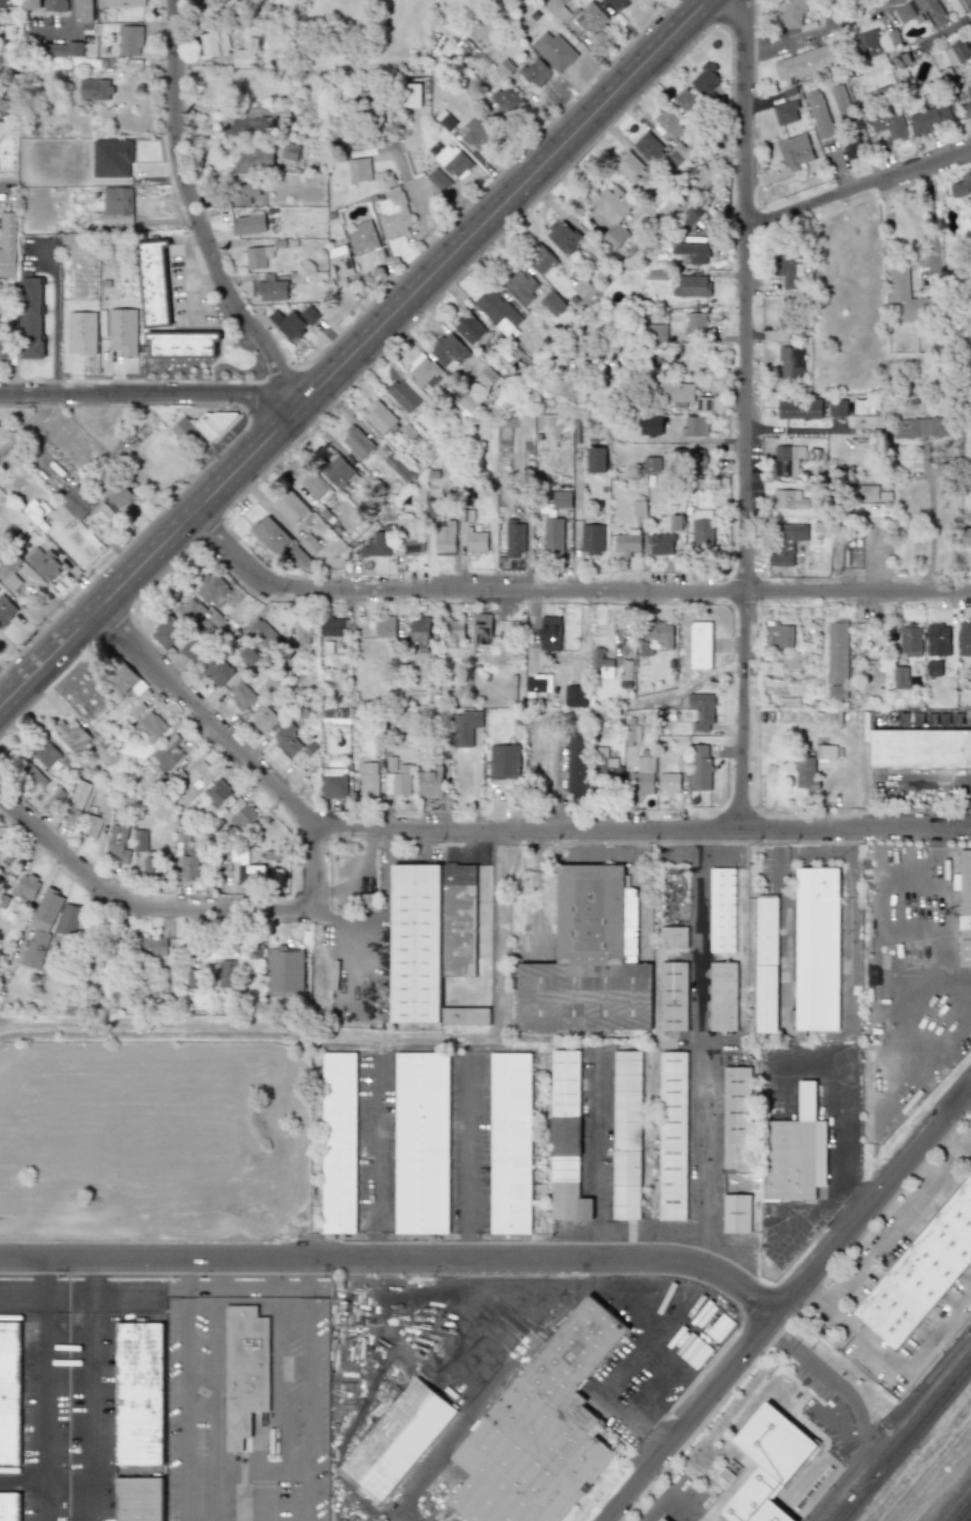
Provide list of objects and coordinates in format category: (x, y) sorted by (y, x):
building: (7, 3)
building: (121, 3)
building: (30, 4)
building: (616, 4)
building: (55, 5)
building: (558, 9)
building: (84, 11)
building: (904, 12)
building: (931, 12)
building: (794, 13)
building: (590, 18)
building: (443, 35)
building: (130, 40)
building: (868, 43)
building: (214, 44)
building: (64, 49)
building: (555, 51)
building: (957, 52)
building: (241, 58)
building: (807, 62)
building: (536, 72)
building: (706, 79)
building: (95, 89)
building: (969, 91)
building: (411, 95)
building: (507, 100)
building: (841, 100)
building: (687, 101)
building: (3, 106)
building: (967, 109)
building: (786, 112)
building: (819, 114)
building: (888, 114)
building: (930, 119)
building: (445, 120)
building: (243, 121)
building: (670, 123)
building: (476, 131)
building: (648, 146)
building: (851, 150)
building: (795, 151)
building: (290, 152)
building: (111, 158)
building: (255, 161)
building: (453, 162)
building: (629, 166)
building: (360, 170)
building: (701, 178)
building: (439, 180)
building: (962, 185)
road: (857, 186)
building: (243, 193)
road: (10, 194)
road: (418, 199)
road: (193, 209)
building: (115, 210)
building: (394, 213)
building: (612, 213)
building: (690, 215)
building: (249, 224)
road: (933, 227)
building: (563, 237)
building: (363, 238)
building: (8, 244)
building: (692, 252)
building: (258, 257)
building: (540, 259)
building: (340, 264)
building: (787, 269)
building: (656, 274)
building: (154, 282)
building: (583, 286)
building: (692, 286)
building: (521, 287)
building: (272, 289)
building: (907, 295)
building: (552, 303)
building: (499, 313)
building: (309, 315)
building: (31, 318)
building: (696, 323)
building: (288, 324)
road: (54, 325)
building: (468, 329)
building: (123, 331)
building: (656, 332)
road: (746, 332)
building: (82, 333)
building: (182, 344)
building: (4, 346)
road: (351, 350)
building: (449, 351)
building: (791, 364)
building: (424, 370)
building: (487, 376)
building: (675, 392)
road: (153, 394)
building: (405, 394)
building: (469, 404)
building: (703, 404)
building: (837, 408)
building: (381, 419)
building: (213, 423)
building: (650, 425)
building: (695, 426)
building: (922, 427)
road: (34, 428)
building: (186, 431)
building: (357, 442)
building: (596, 460)
building: (786, 460)
building: (695, 461)
building: (651, 464)
building: (401, 465)
building: (336, 470)
building: (314, 485)
building: (114, 491)
building: (866, 492)
building: (561, 499)
building: (791, 500)
building: (85, 504)
building: (290, 507)
building: (435, 508)
building: (638, 508)
building: (38, 514)
building: (675, 523)
road: (931, 525)
building: (702, 531)
building: (271, 536)
building: (409, 536)
building: (553, 536)
building: (964, 536)
building: (445, 538)
building: (592, 538)
building: (515, 539)
building: (62, 541)
building: (476, 541)
building: (627, 543)
building: (786, 543)
building: (310, 544)
building: (661, 544)
building: (378, 545)
building: (296, 558)
road: (576, 562)
building: (43, 563)
building: (8, 568)
building: (213, 589)
road: (563, 591)
building: (6, 610)
building: (202, 617)
building: (333, 627)
building: (385, 627)
building: (482, 629)
building: (420, 630)
building: (455, 630)
building: (303, 631)
building: (167, 632)
building: (660, 633)
building: (550, 634)
building: (264, 635)
building: (779, 635)
building: (965, 639)
building: (910, 640)
building: (938, 640)
building: (700, 645)
building: (838, 652)
building: (190, 653)
building: (248, 655)
building: (794, 661)
building: (602, 663)
building: (934, 668)
building: (218, 670)
building: (626, 670)
road: (744, 670)
building: (901, 677)
building: (125, 679)
building: (535, 683)
building: (837, 692)
building: (242, 695)
building: (575, 696)
building: (701, 711)
building: (264, 718)
road: (922, 721)
building: (466, 727)
building: (150, 728)
building: (72, 735)
building: (287, 740)
building: (920, 749)
building: (103, 750)
road: (742, 752)
building: (45, 753)
building: (168, 753)
building: (826, 755)
building: (576, 761)
building: (504, 762)
building: (391, 764)
building: (644, 764)
building: (681, 764)
building: (608, 766)
building: (700, 767)
building: (201, 773)
building: (369, 774)
building: (806, 774)
road: (923, 777)
building: (32, 778)
building: (399, 781)
building: (669, 782)
building: (334, 783)
building: (430, 783)
building: (218, 793)
building: (58, 796)
building: (77, 802)
building: (244, 817)
building: (98, 818)
road: (485, 829)
building: (119, 844)
building: (155, 868)
building: (251, 874)
road: (534, 886)
building: (28, 887)
building: (964, 906)
building: (725, 910)
road: (175, 914)
building: (598, 915)
building: (69, 919)
building: (461, 921)
road: (936, 927)
building: (41, 929)
road: (345, 929)
building: (676, 937)
building: (418, 943)
building: (153, 945)
building: (819, 950)
building: (769, 964)
road: (902, 971)
building: (193, 979)
building: (676, 996)
building: (587, 997)
building: (726, 997)
building: (469, 1016)
road: (969, 1020)
road: (705, 1049)
building: (568, 1083)
road: (875, 1098)
road: (965, 1098)
building: (740, 1121)
road: (950, 1132)
building: (568, 1136)
building: (630, 1136)
building: (676, 1140)
parking lot: (472, 1142)
building: (342, 1143)
parking lot: (378, 1143)
building: (424, 1143)
building: (513, 1143)
building: (796, 1151)
road: (607, 1153)
road: (378, 1156)
road: (472, 1157)
building: (658, 1169)
building: (567, 1187)
building: (588, 1209)
building: (739, 1213)
road: (898, 1221)
road: (396, 1259)
building: (923, 1274)
road: (189, 1277)
road: (310, 1278)
road: (46, 1284)
road: (95, 1285)
parking lot: (251, 1288)
parking lot: (85, 1296)
road: (813, 1296)
road: (788, 1300)
road: (678, 1301)
road: (82, 1302)
road: (779, 1336)
building: (696, 1353)
road: (812, 1363)
road: (218, 1370)
building: (247, 1371)
road: (902, 1373)
road: (282, 1383)
park: (305, 1391)
building: (11, 1393)
building: (142, 1394)
road: (470, 1406)
road: (188, 1408)
road: (310, 1409)
road: (48, 1416)
parking lot: (70, 1416)
road: (93, 1417)
railway: (888, 1423)
building: (543, 1430)
railway: (899, 1436)
building: (401, 1438)
railway: (905, 1443)
railway: (850, 1445)
railway: (823, 1456)
road: (249, 1464)
building: (767, 1464)
building: (724, 1474)
road: (24, 1483)
road: (943, 1488)
road: (228, 1492)
road: (266, 1493)
road: (671, 1494)
building: (141, 1499)
building: (11, 1507)
railway: (962, 1510)
railway: (770, 1512)
railway: (786, 1517)
railway: (968, 1517)
building: (662, 1519)
road: (608, 1520)

